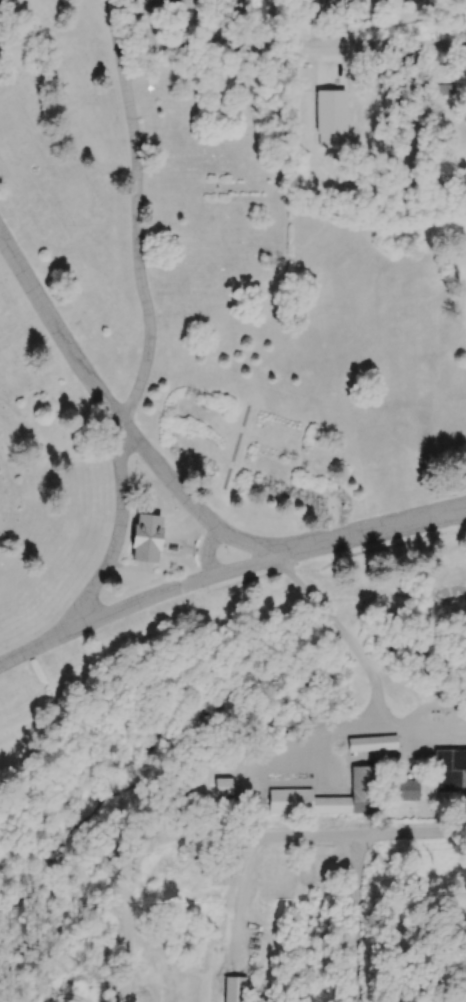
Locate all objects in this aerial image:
building: (165, 3)
building: (310, 3)
building: (235, 6)
road: (292, 49)
park: (204, 338)
road: (146, 359)
road: (110, 408)
road: (355, 535)
building: (145, 538)
road: (151, 597)
road: (366, 666)
building: (371, 743)
building: (450, 770)
building: (222, 786)
building: (406, 790)
building: (326, 797)
road: (305, 836)
road: (354, 918)
road: (127, 921)
building: (234, 989)

